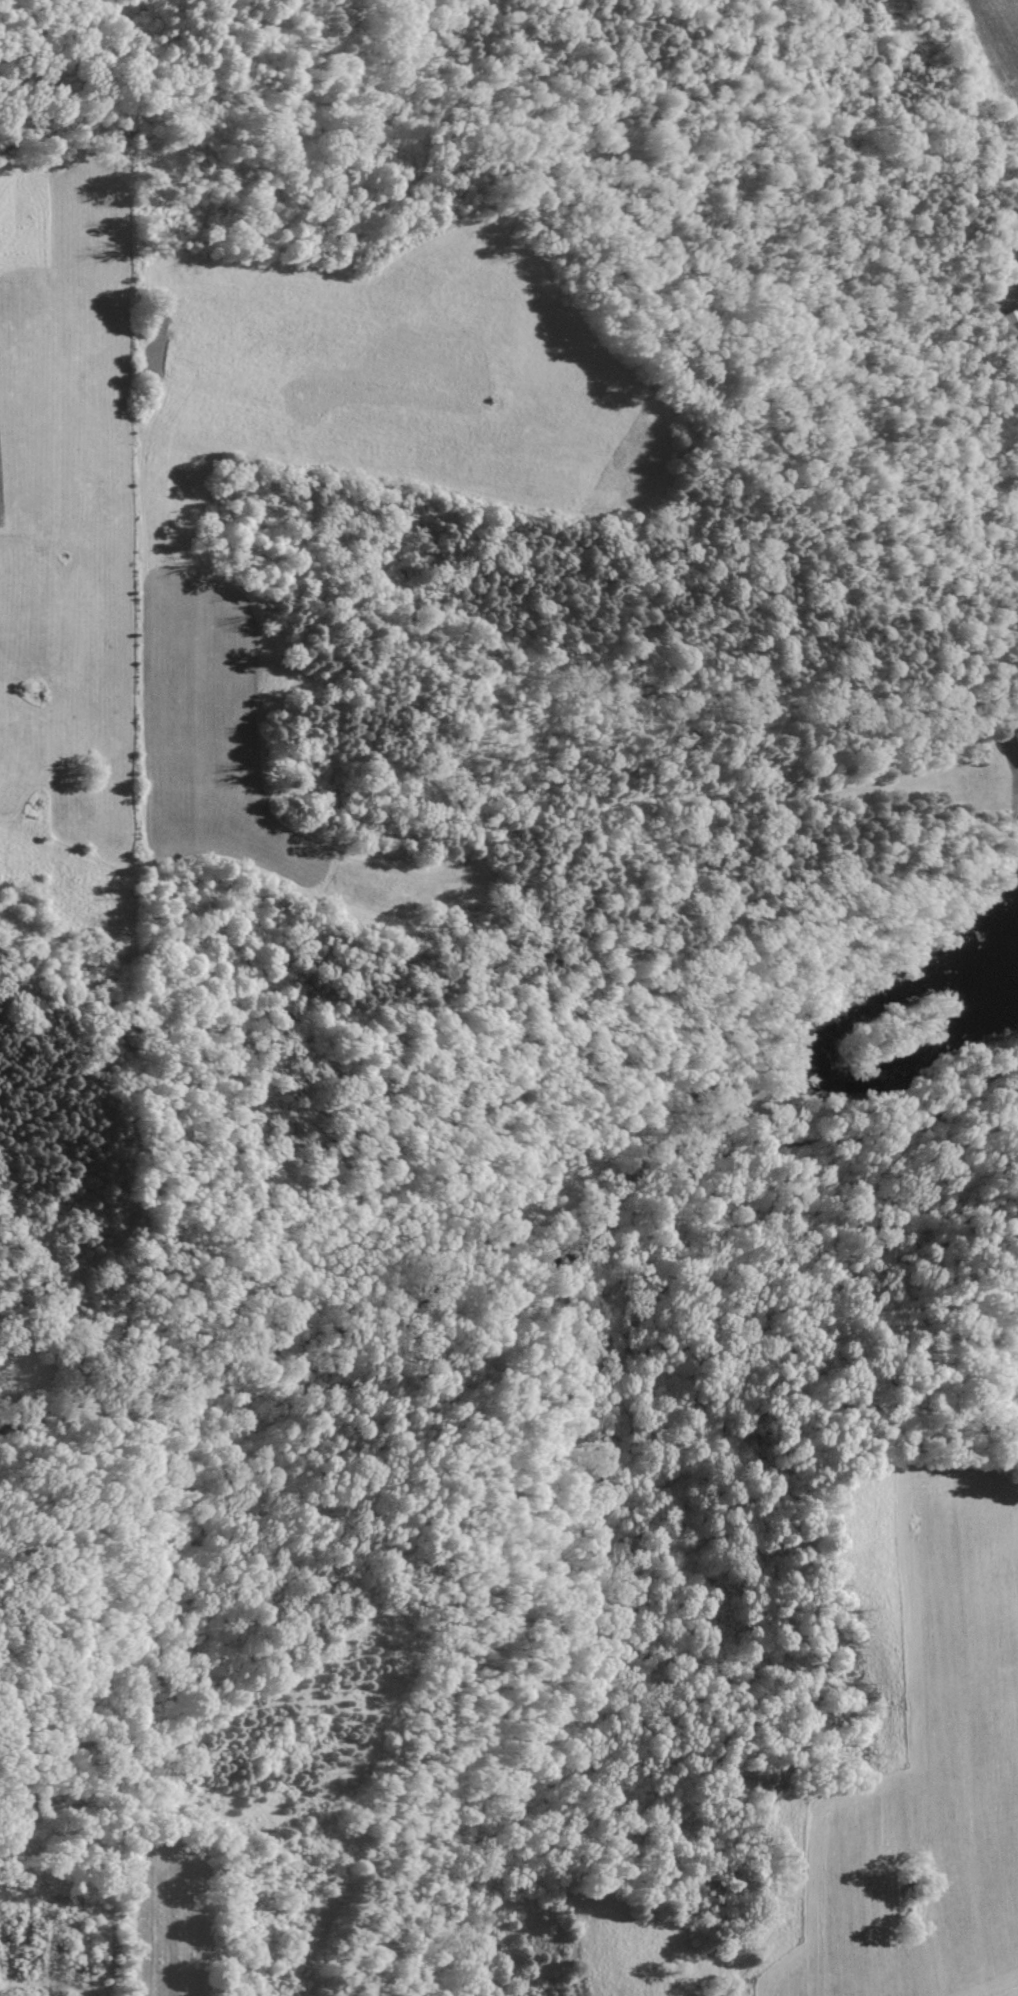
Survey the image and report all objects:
building: (1010, 325)
building: (1016, 739)

